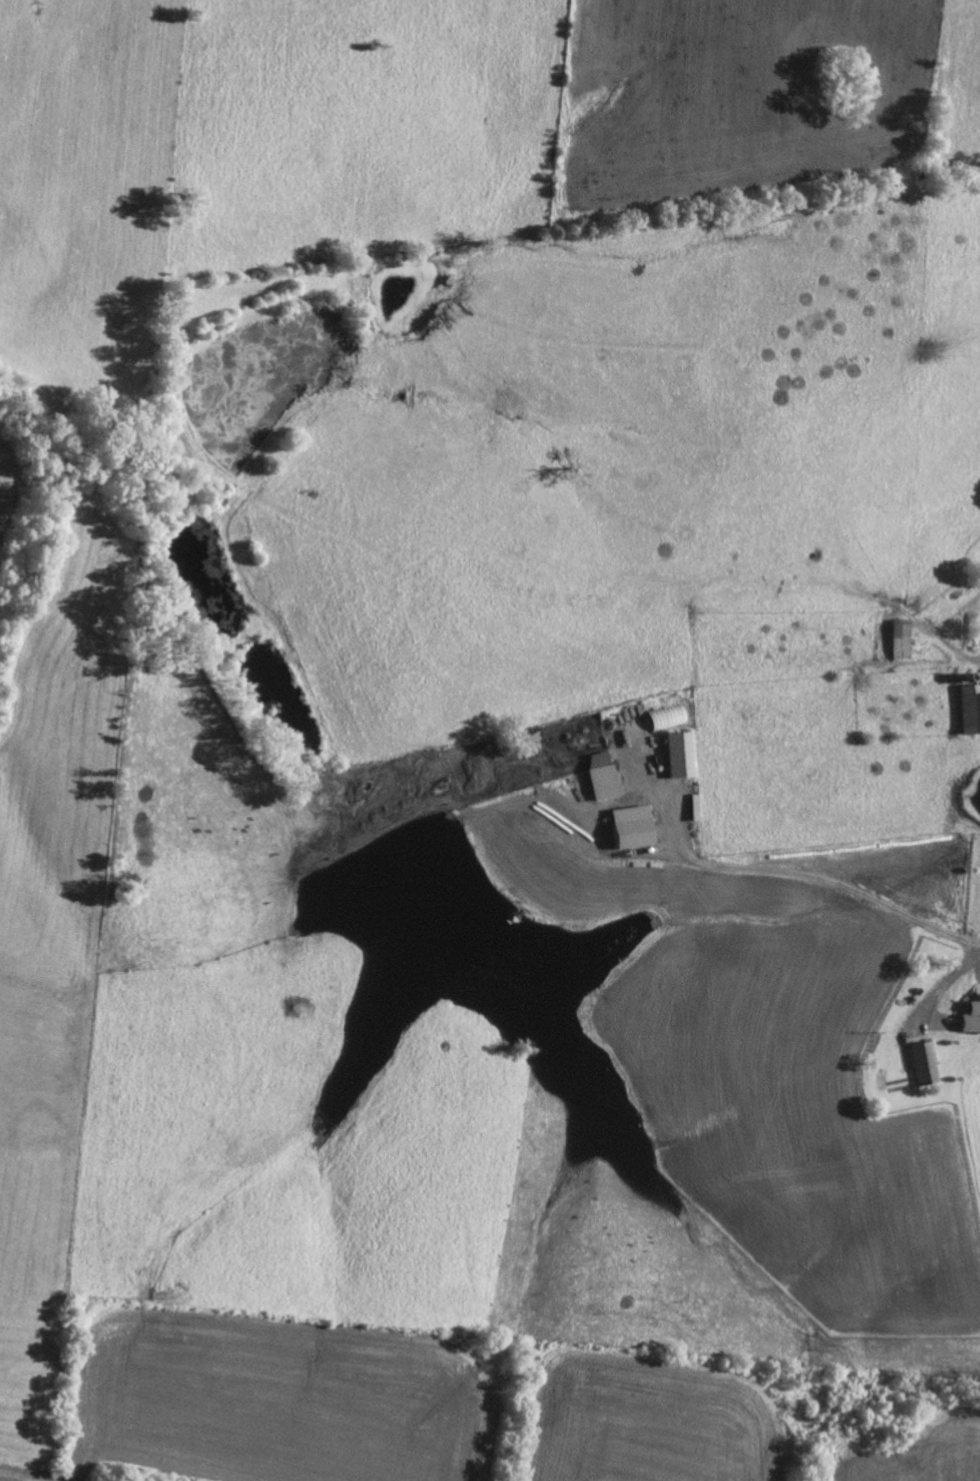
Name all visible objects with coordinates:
building: (905, 638)
building: (972, 709)
building: (671, 715)
building: (684, 754)
building: (605, 775)
building: (635, 827)
road: (822, 875)
building: (973, 1019)
building: (928, 1063)

